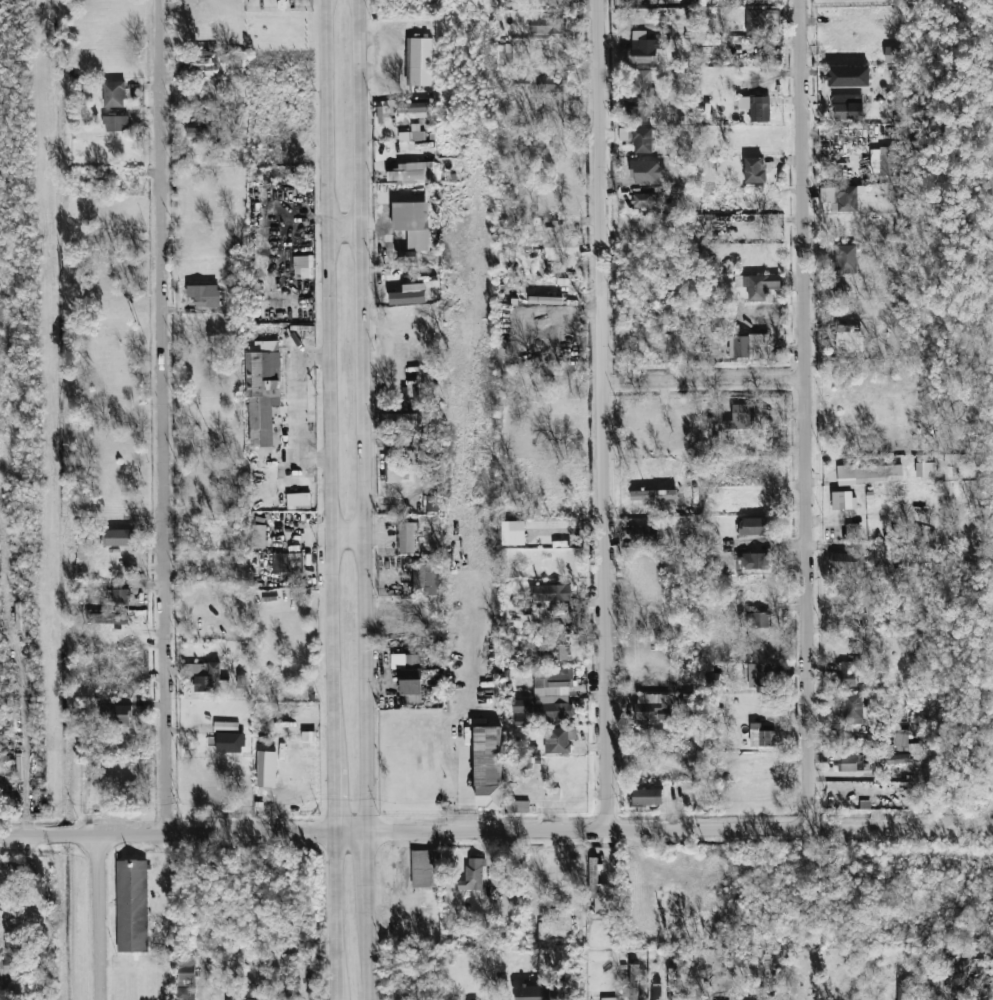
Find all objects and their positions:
building: (644, 2)
building: (760, 20)
building: (547, 25)
building: (643, 48)
building: (505, 53)
building: (893, 54)
building: (420, 61)
building: (849, 76)
building: (524, 77)
building: (641, 81)
building: (550, 83)
building: (114, 94)
building: (413, 106)
building: (848, 106)
building: (756, 107)
building: (638, 113)
building: (116, 123)
building: (199, 132)
building: (642, 140)
building: (890, 162)
building: (754, 169)
building: (412, 172)
building: (647, 172)
building: (894, 195)
building: (840, 197)
building: (643, 200)
building: (413, 223)
road: (345, 229)
building: (407, 256)
building: (845, 259)
building: (758, 284)
building: (409, 294)
building: (205, 295)
building: (709, 338)
building: (849, 338)
building: (749, 346)
road: (709, 379)
road: (329, 384)
building: (262, 390)
road: (808, 415)
road: (609, 416)
road: (361, 417)
building: (739, 417)
road: (165, 418)
building: (399, 420)
building: (387, 441)
building: (949, 460)
building: (925, 469)
building: (397, 471)
building: (870, 473)
building: (654, 494)
building: (843, 499)
building: (432, 503)
building: (753, 526)
building: (851, 531)
building: (516, 532)
building: (259, 535)
road: (346, 535)
building: (645, 536)
building: (120, 537)
building: (407, 537)
building: (82, 547)
building: (847, 560)
building: (753, 561)
building: (286, 563)
building: (425, 578)
building: (552, 592)
building: (120, 596)
building: (107, 617)
building: (758, 619)
building: (415, 626)
building: (546, 650)
building: (408, 672)
building: (849, 673)
building: (204, 674)
building: (759, 675)
building: (241, 679)
building: (713, 680)
building: (552, 693)
building: (521, 705)
building: (652, 706)
building: (852, 707)
building: (118, 714)
road: (23, 722)
building: (226, 726)
building: (309, 735)
building: (761, 736)
building: (901, 738)
building: (559, 739)
building: (230, 742)
building: (486, 756)
building: (897, 758)
building: (851, 763)
building: (267, 768)
road: (456, 777)
building: (645, 797)
road: (335, 802)
building: (518, 806)
road: (496, 833)
road: (364, 865)
building: (422, 869)
building: (473, 875)
building: (7, 876)
building: (598, 889)
building: (133, 904)
road: (336, 918)
road: (103, 919)
road: (365, 948)
building: (11, 965)
building: (185, 977)
building: (633, 983)
building: (14, 987)
building: (251, 989)
building: (902, 990)
building: (533, 992)
building: (657, 992)
building: (258, 996)
building: (609, 998)
building: (233, 999)
building: (278, 999)
building: (780, 999)

